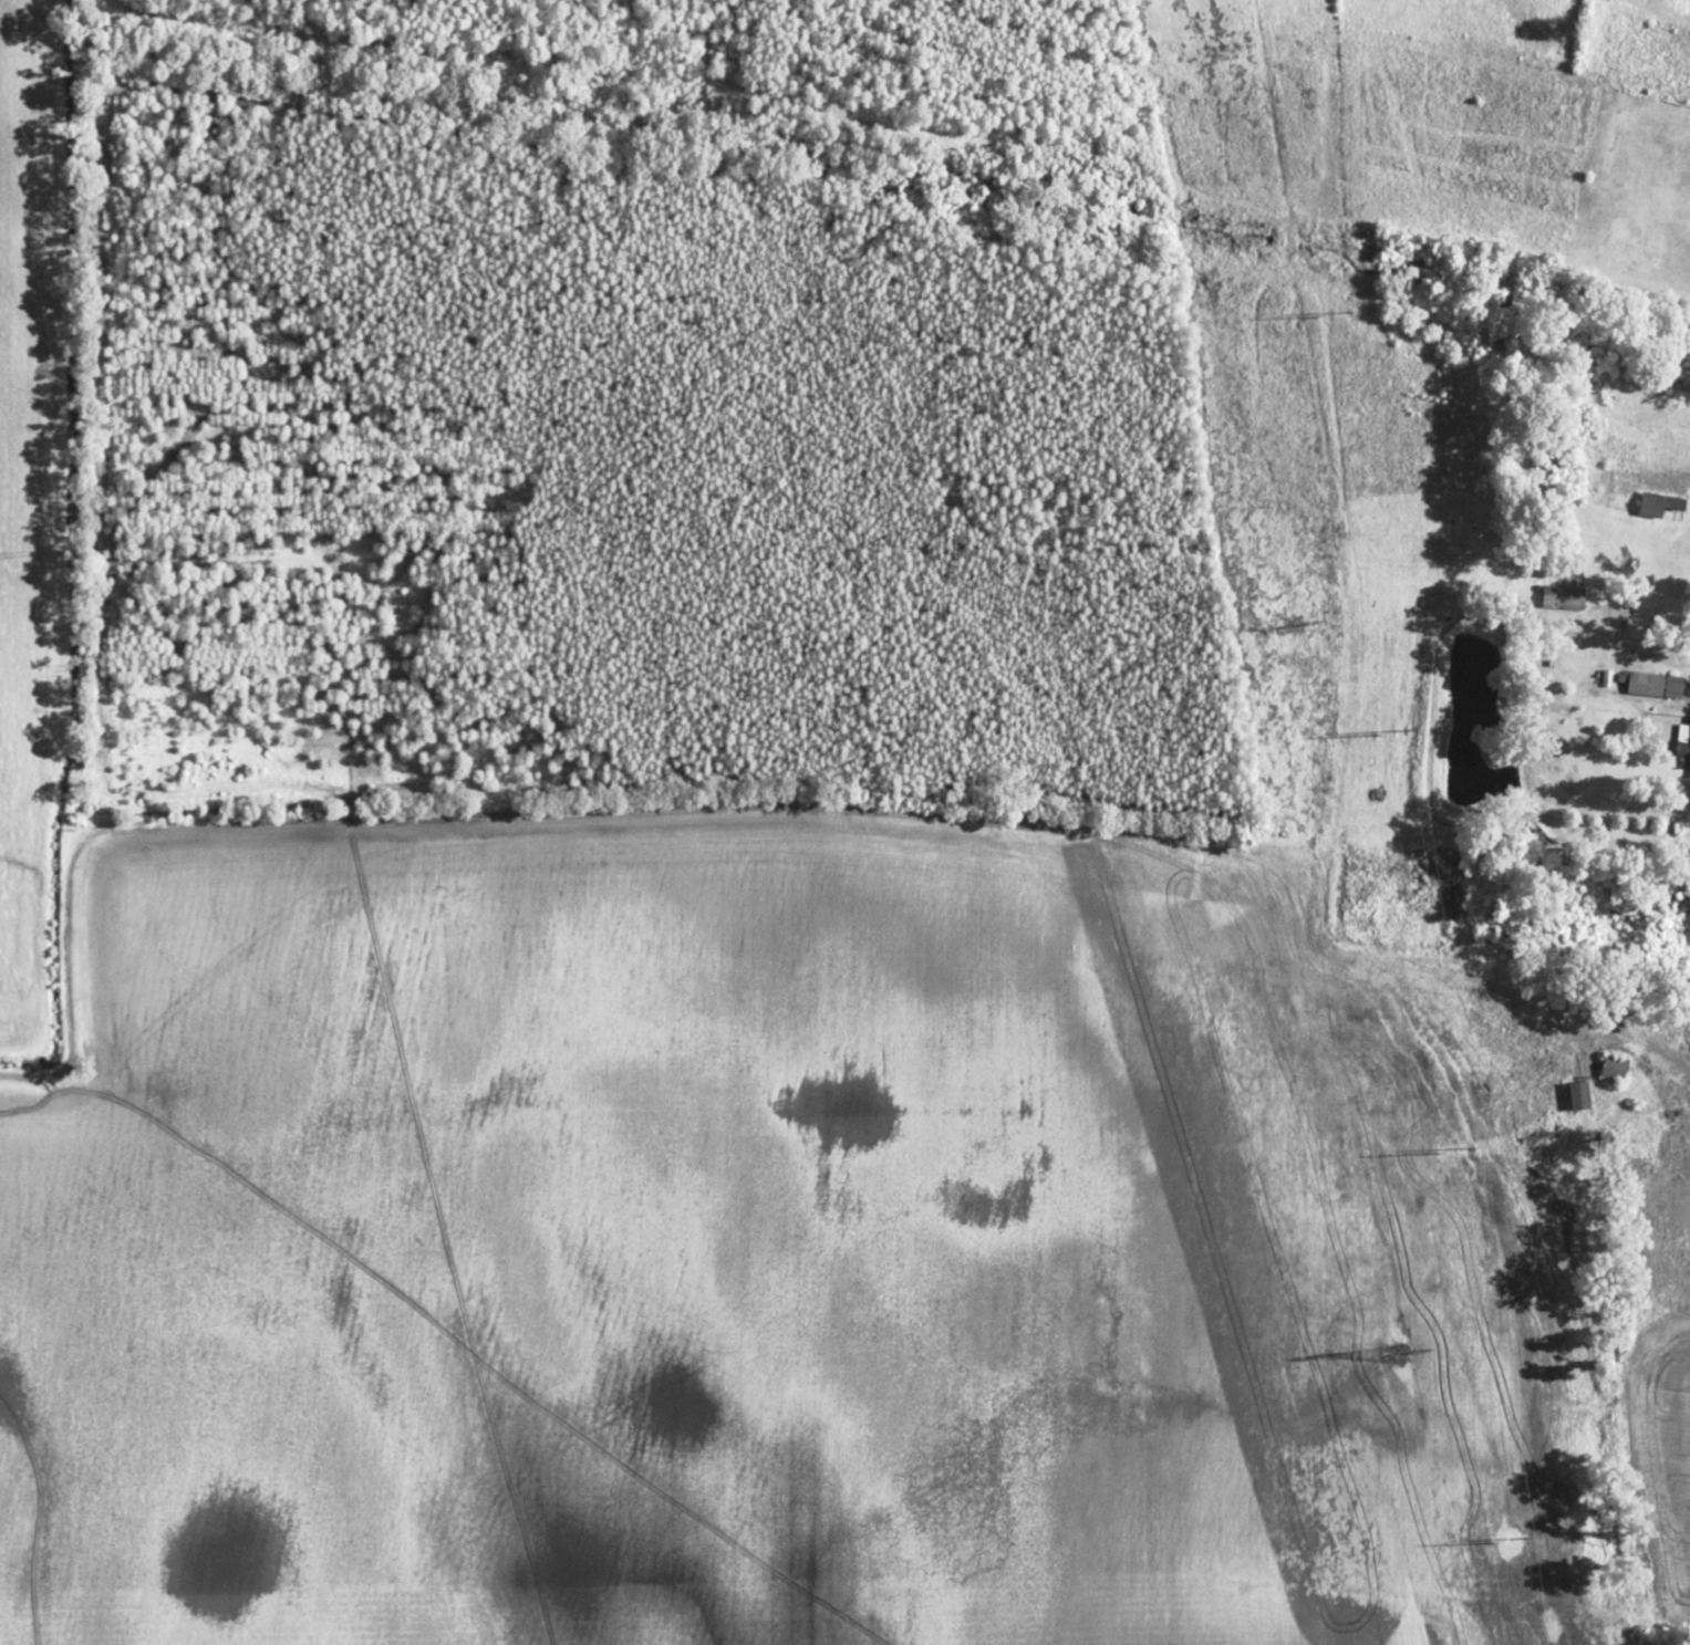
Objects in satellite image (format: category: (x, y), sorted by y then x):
power tower: (1324, 314)
power tower: (1296, 622)
power tower: (1390, 769)
building: (1611, 1069)
building: (1575, 1094)
power tower: (1447, 1153)
power tower: (1399, 1351)

